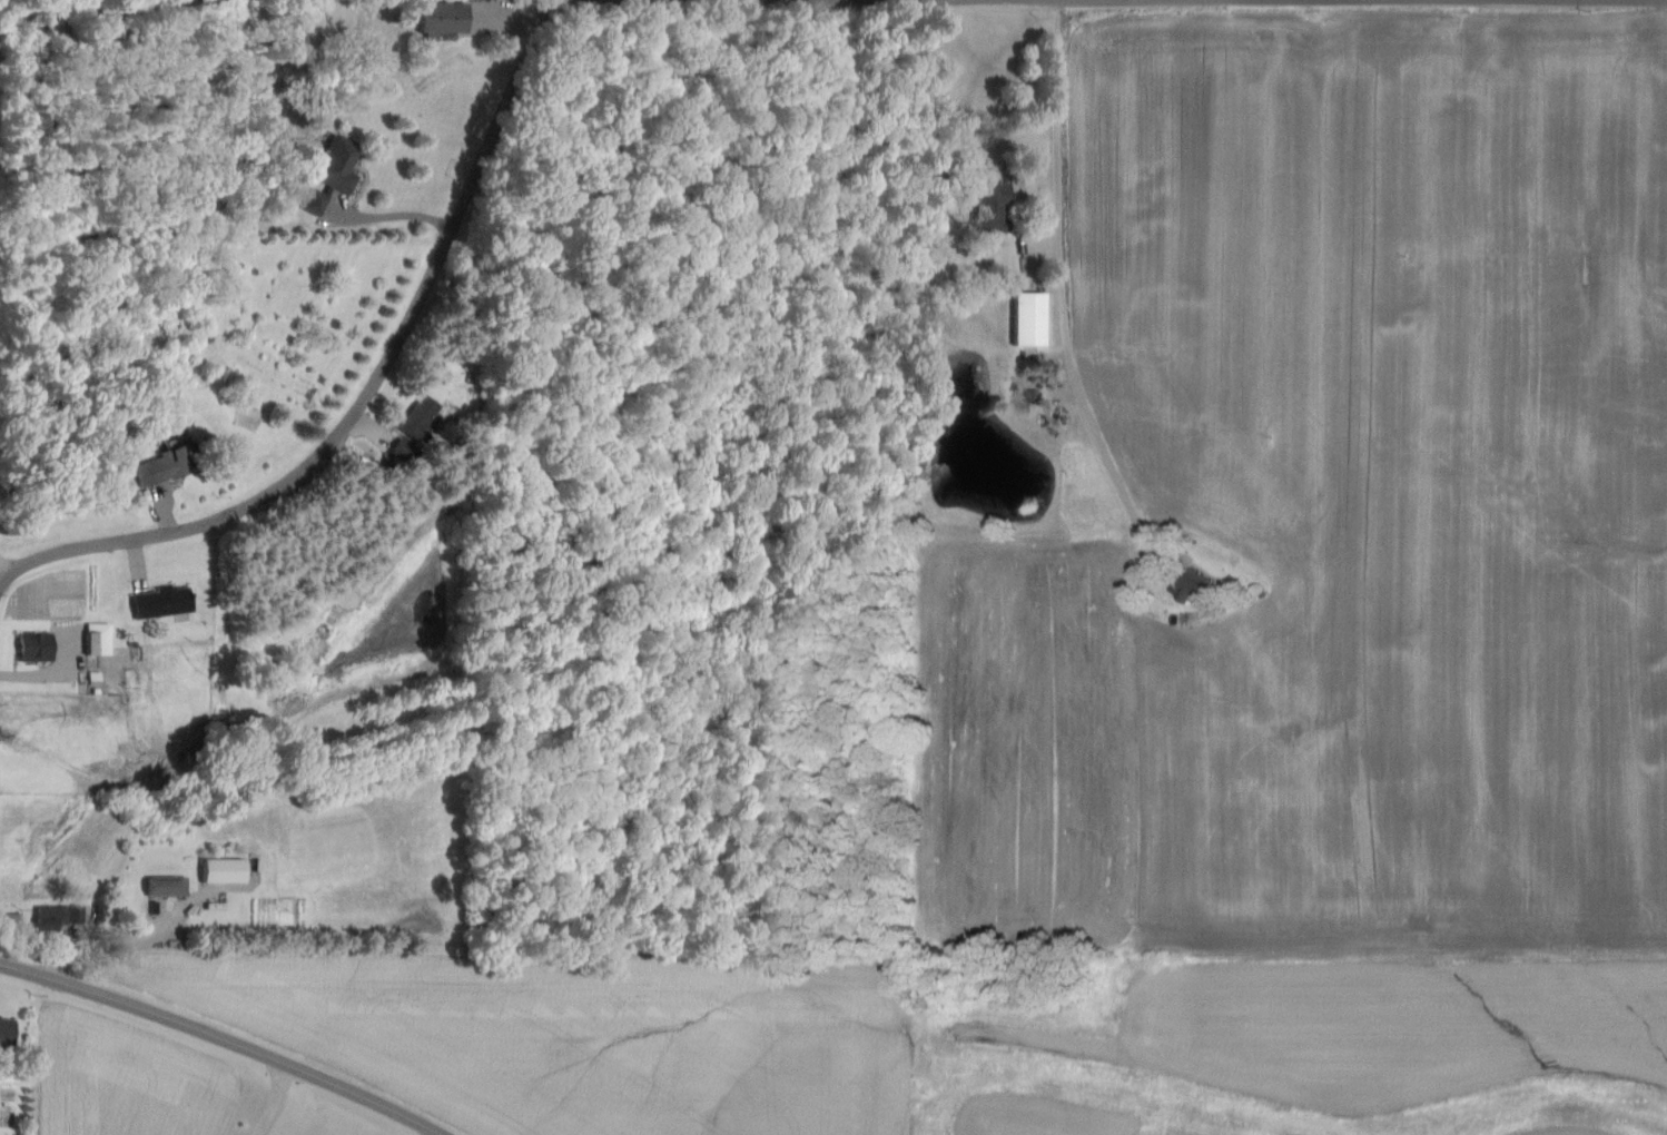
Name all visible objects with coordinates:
road: (967, 0)
building: (443, 17)
building: (334, 175)
building: (993, 208)
road: (396, 213)
road: (1063, 293)
building: (1030, 319)
road: (369, 393)
building: (421, 421)
building: (179, 462)
road: (0, 581)
building: (1194, 588)
building: (165, 603)
building: (99, 640)
building: (37, 648)
building: (224, 872)
building: (168, 887)
building: (11, 919)
road: (886, 931)
road: (973, 976)
building: (7, 1035)
road: (224, 1039)
road: (273, 1101)

